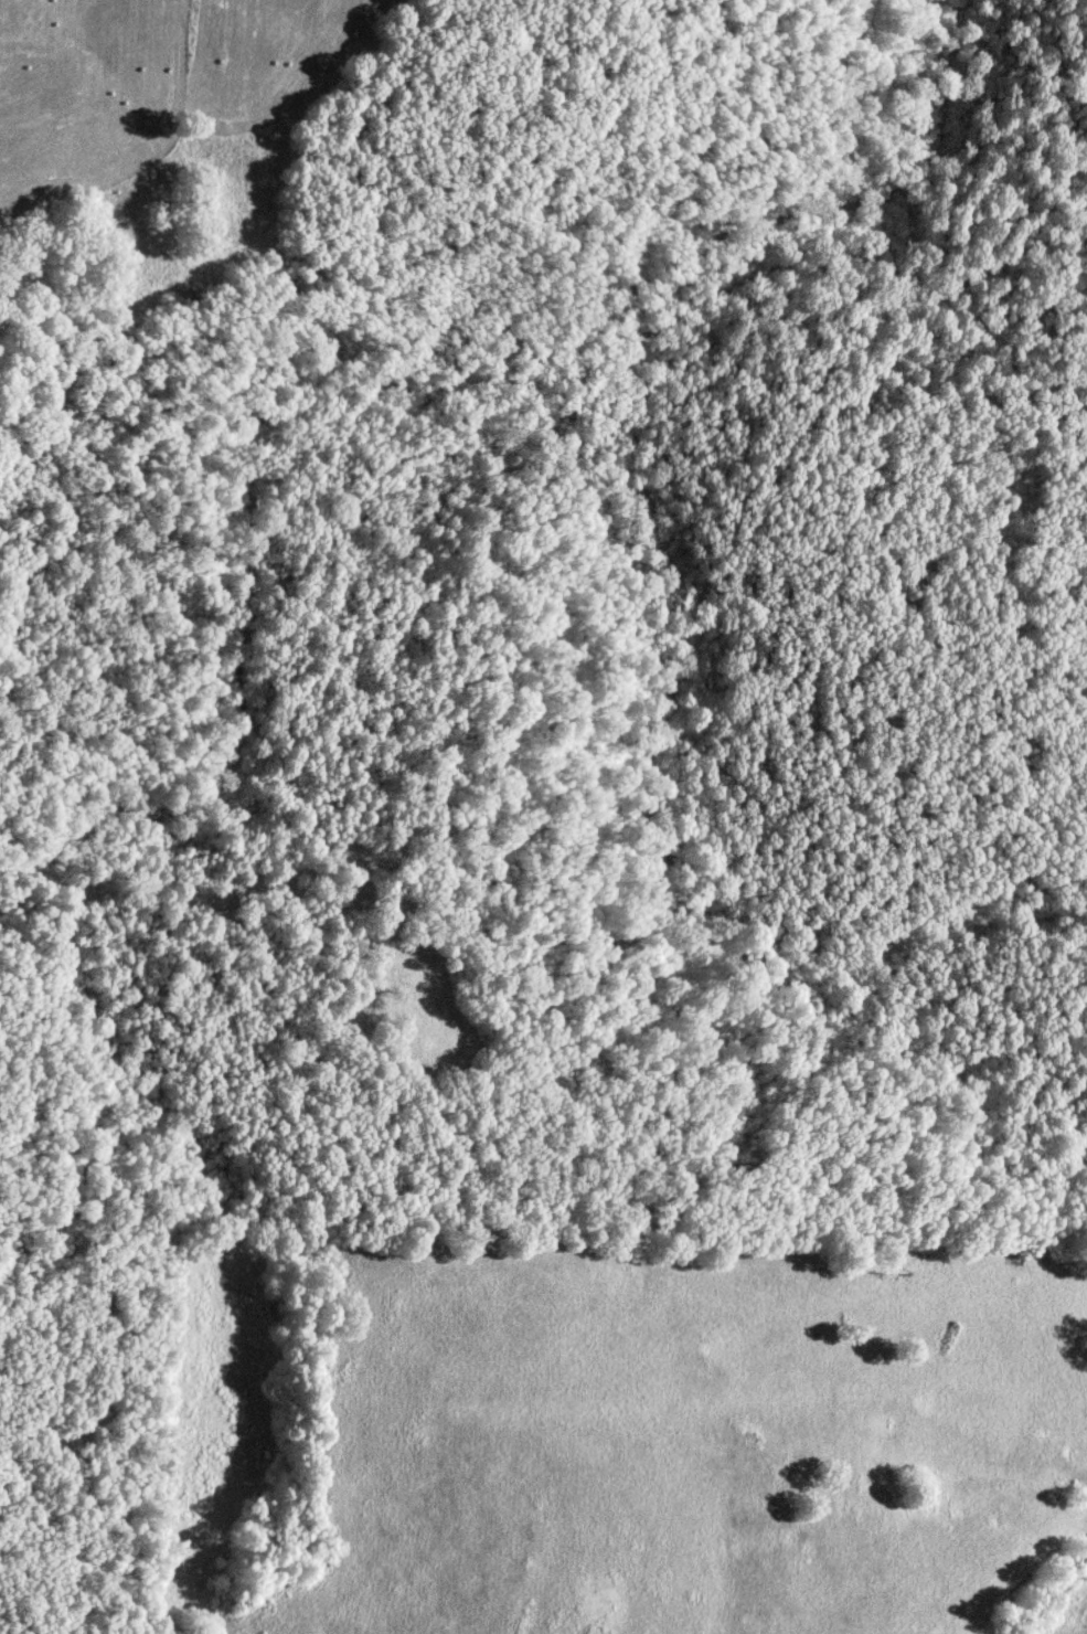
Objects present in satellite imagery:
road: (1021, 1461)

